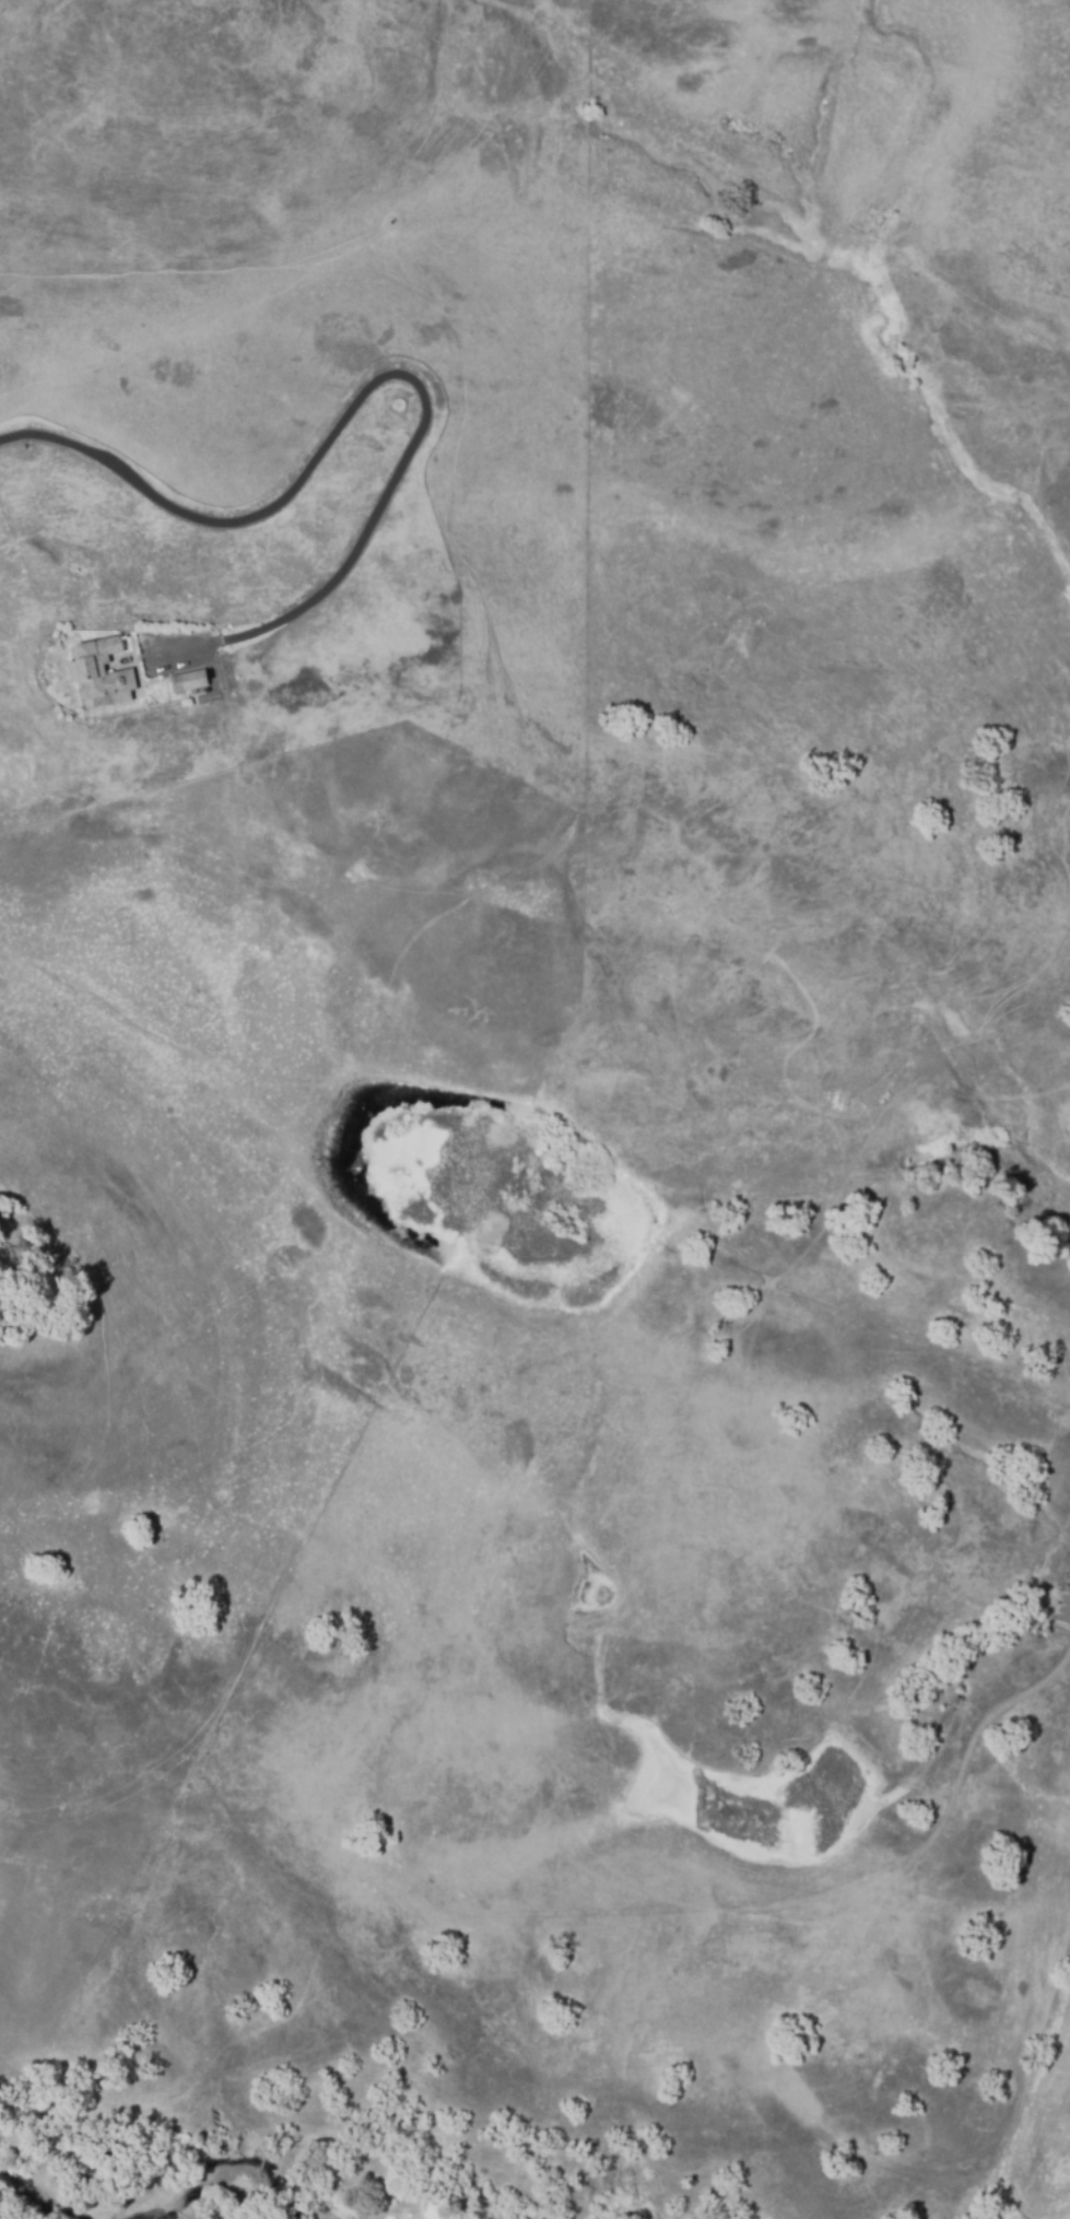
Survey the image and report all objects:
road: (349, 412)
building: (103, 674)
building: (190, 681)
building: (1062, 1609)

